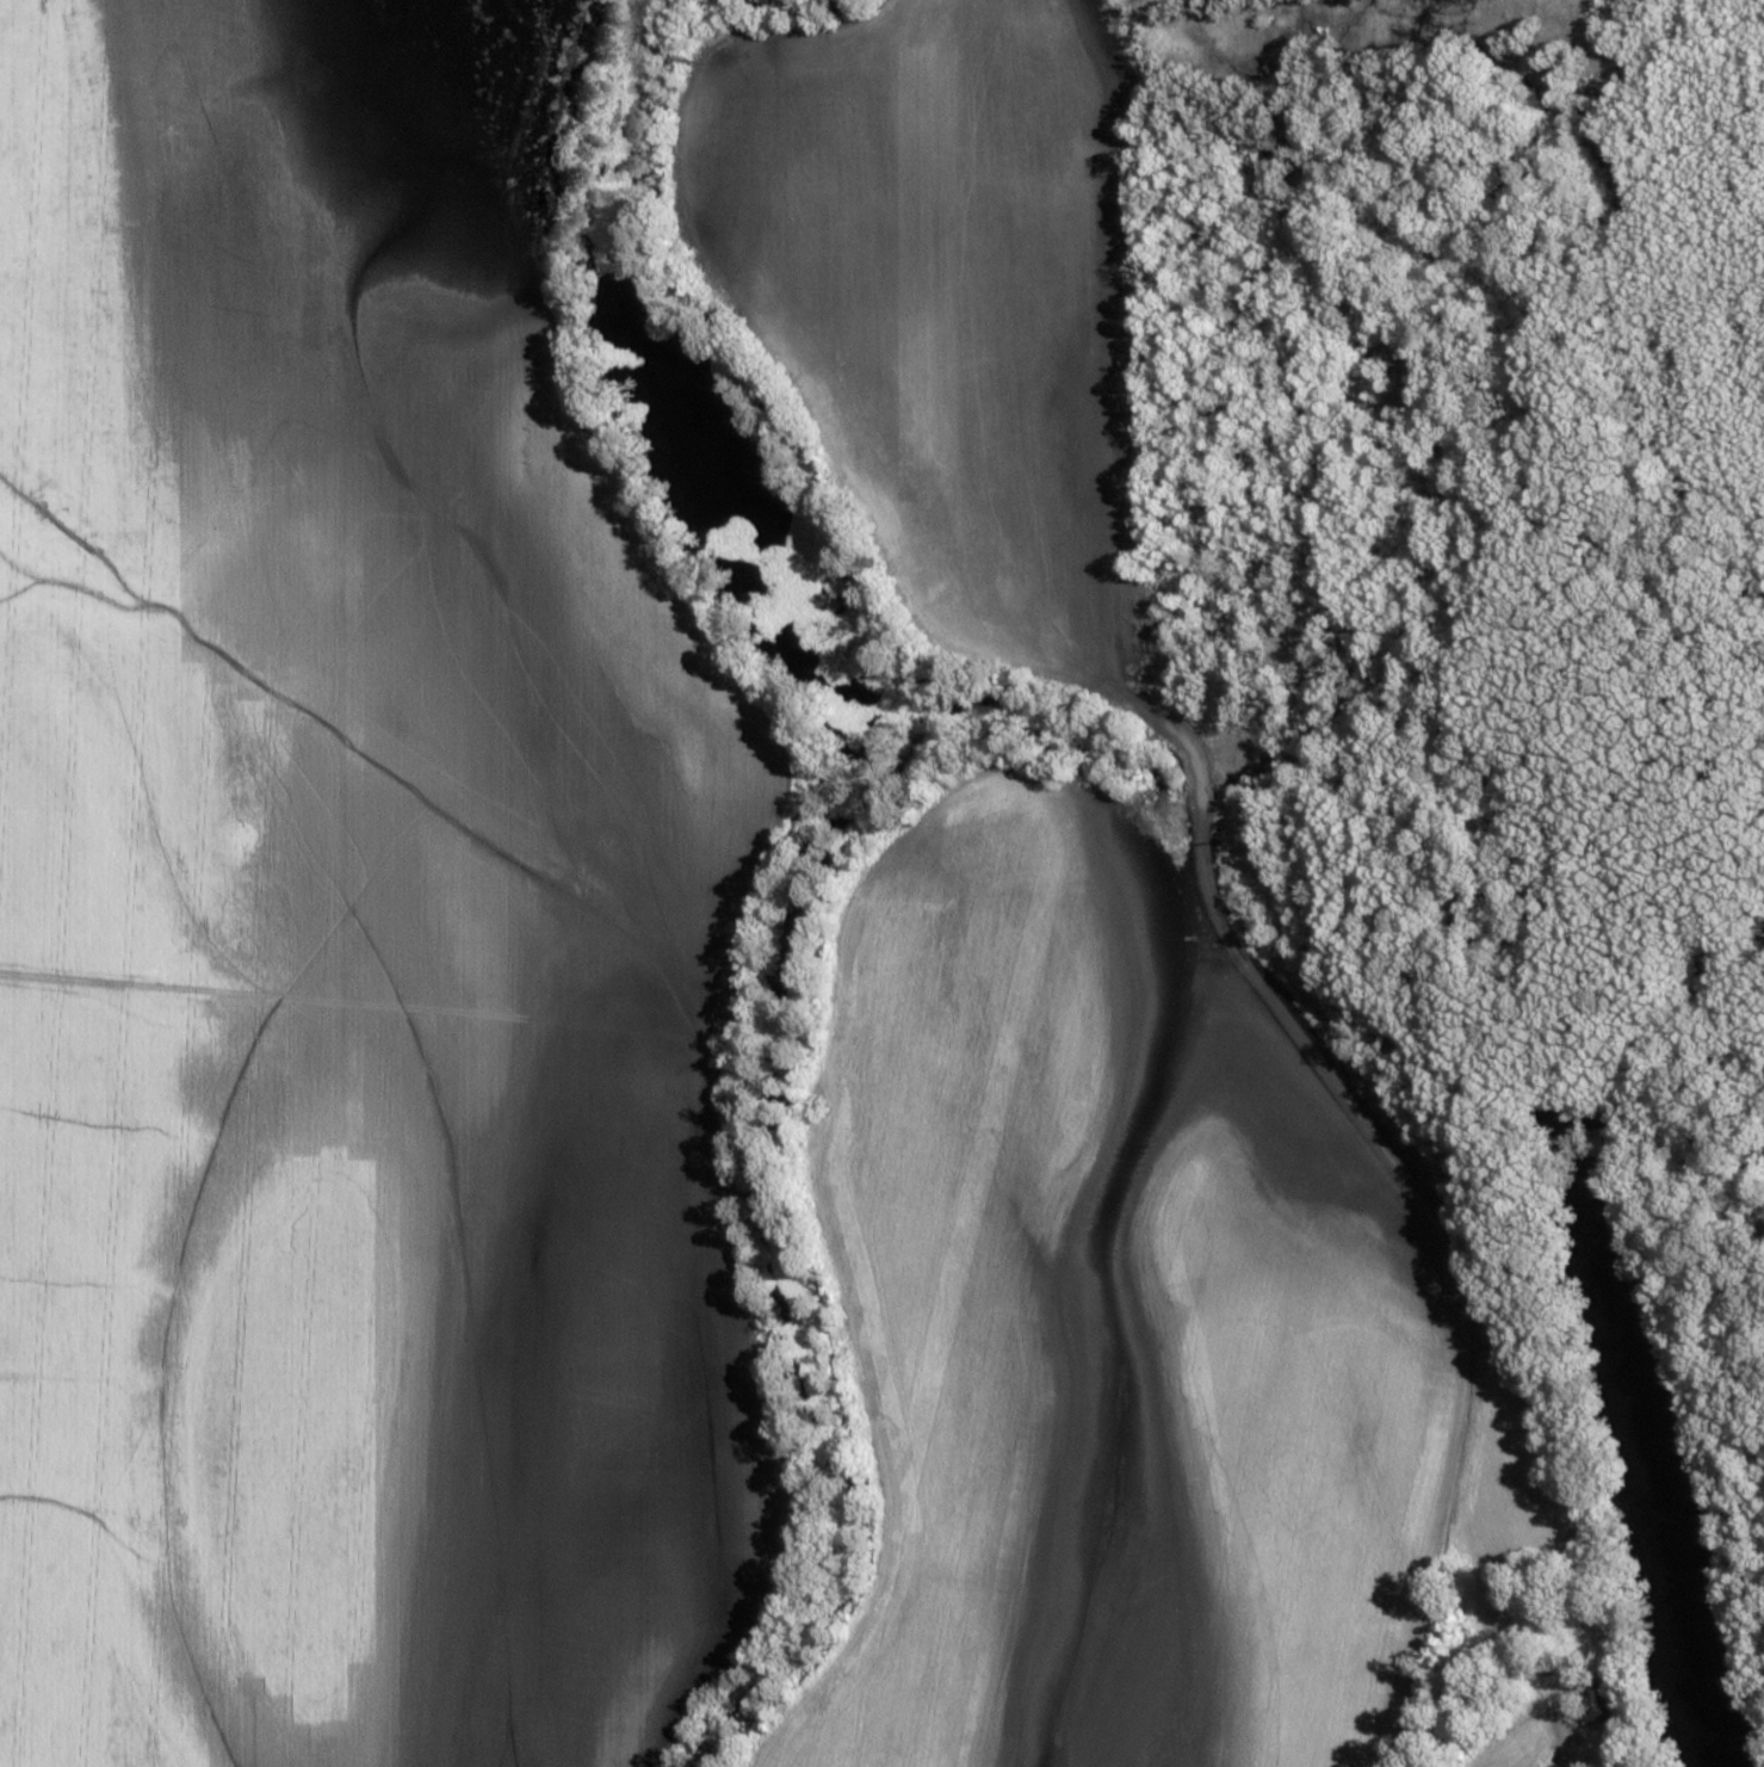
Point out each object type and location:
road: (1294, 1623)
building: (1596, 1701)

